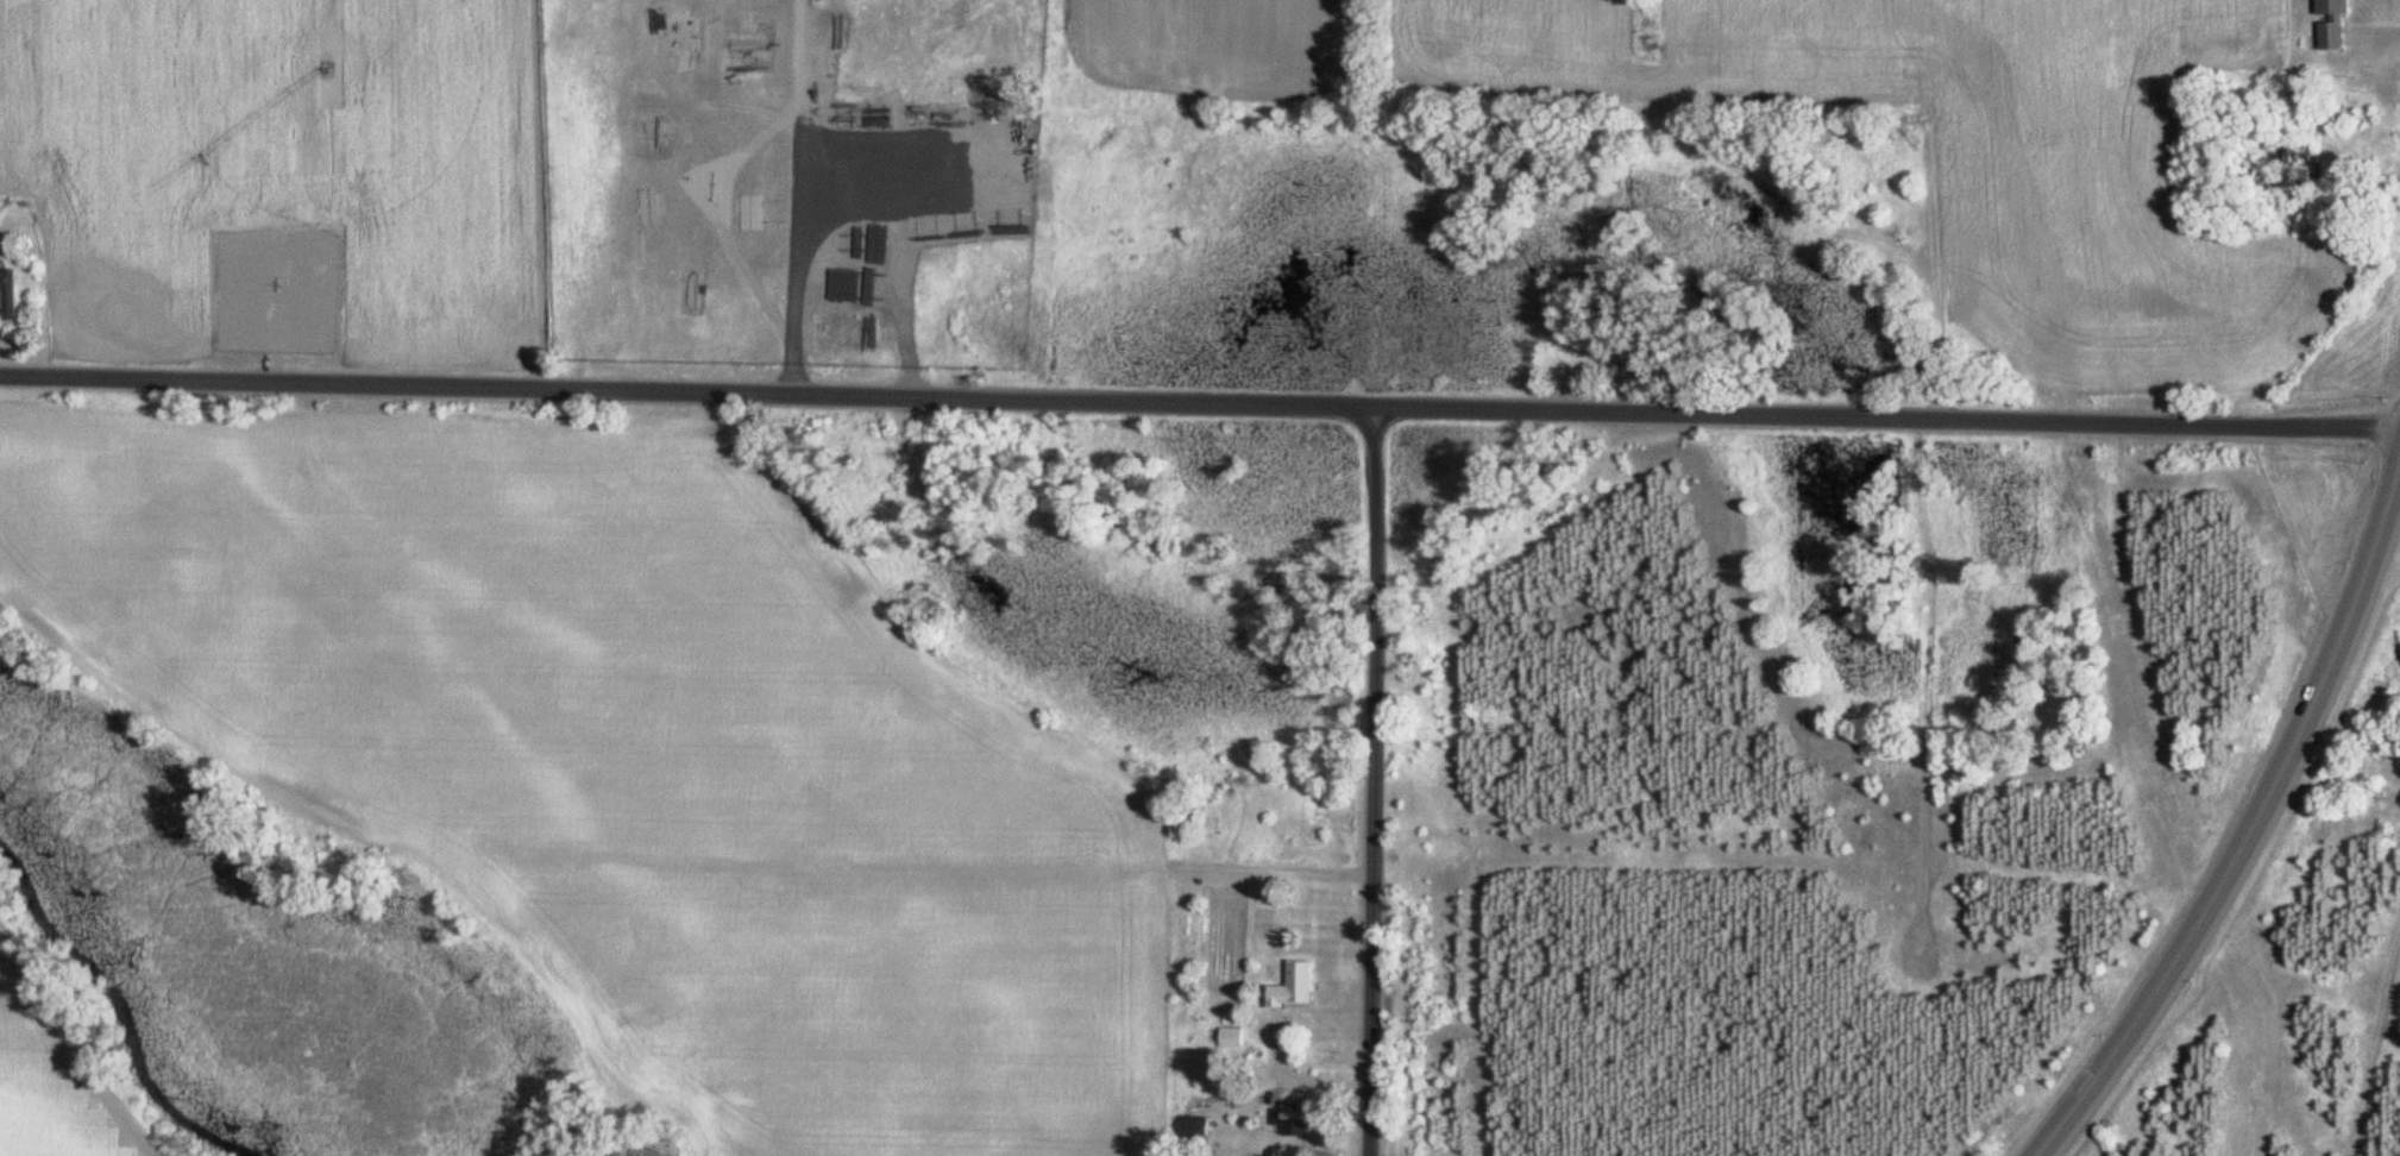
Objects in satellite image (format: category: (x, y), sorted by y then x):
building: (2333, 24)
road: (786, 196)
road: (711, 215)
building: (10, 296)
road: (1199, 400)
road: (1371, 779)
road: (2253, 833)
building: (1296, 987)
building: (1296, 1123)
building: (1195, 1127)

